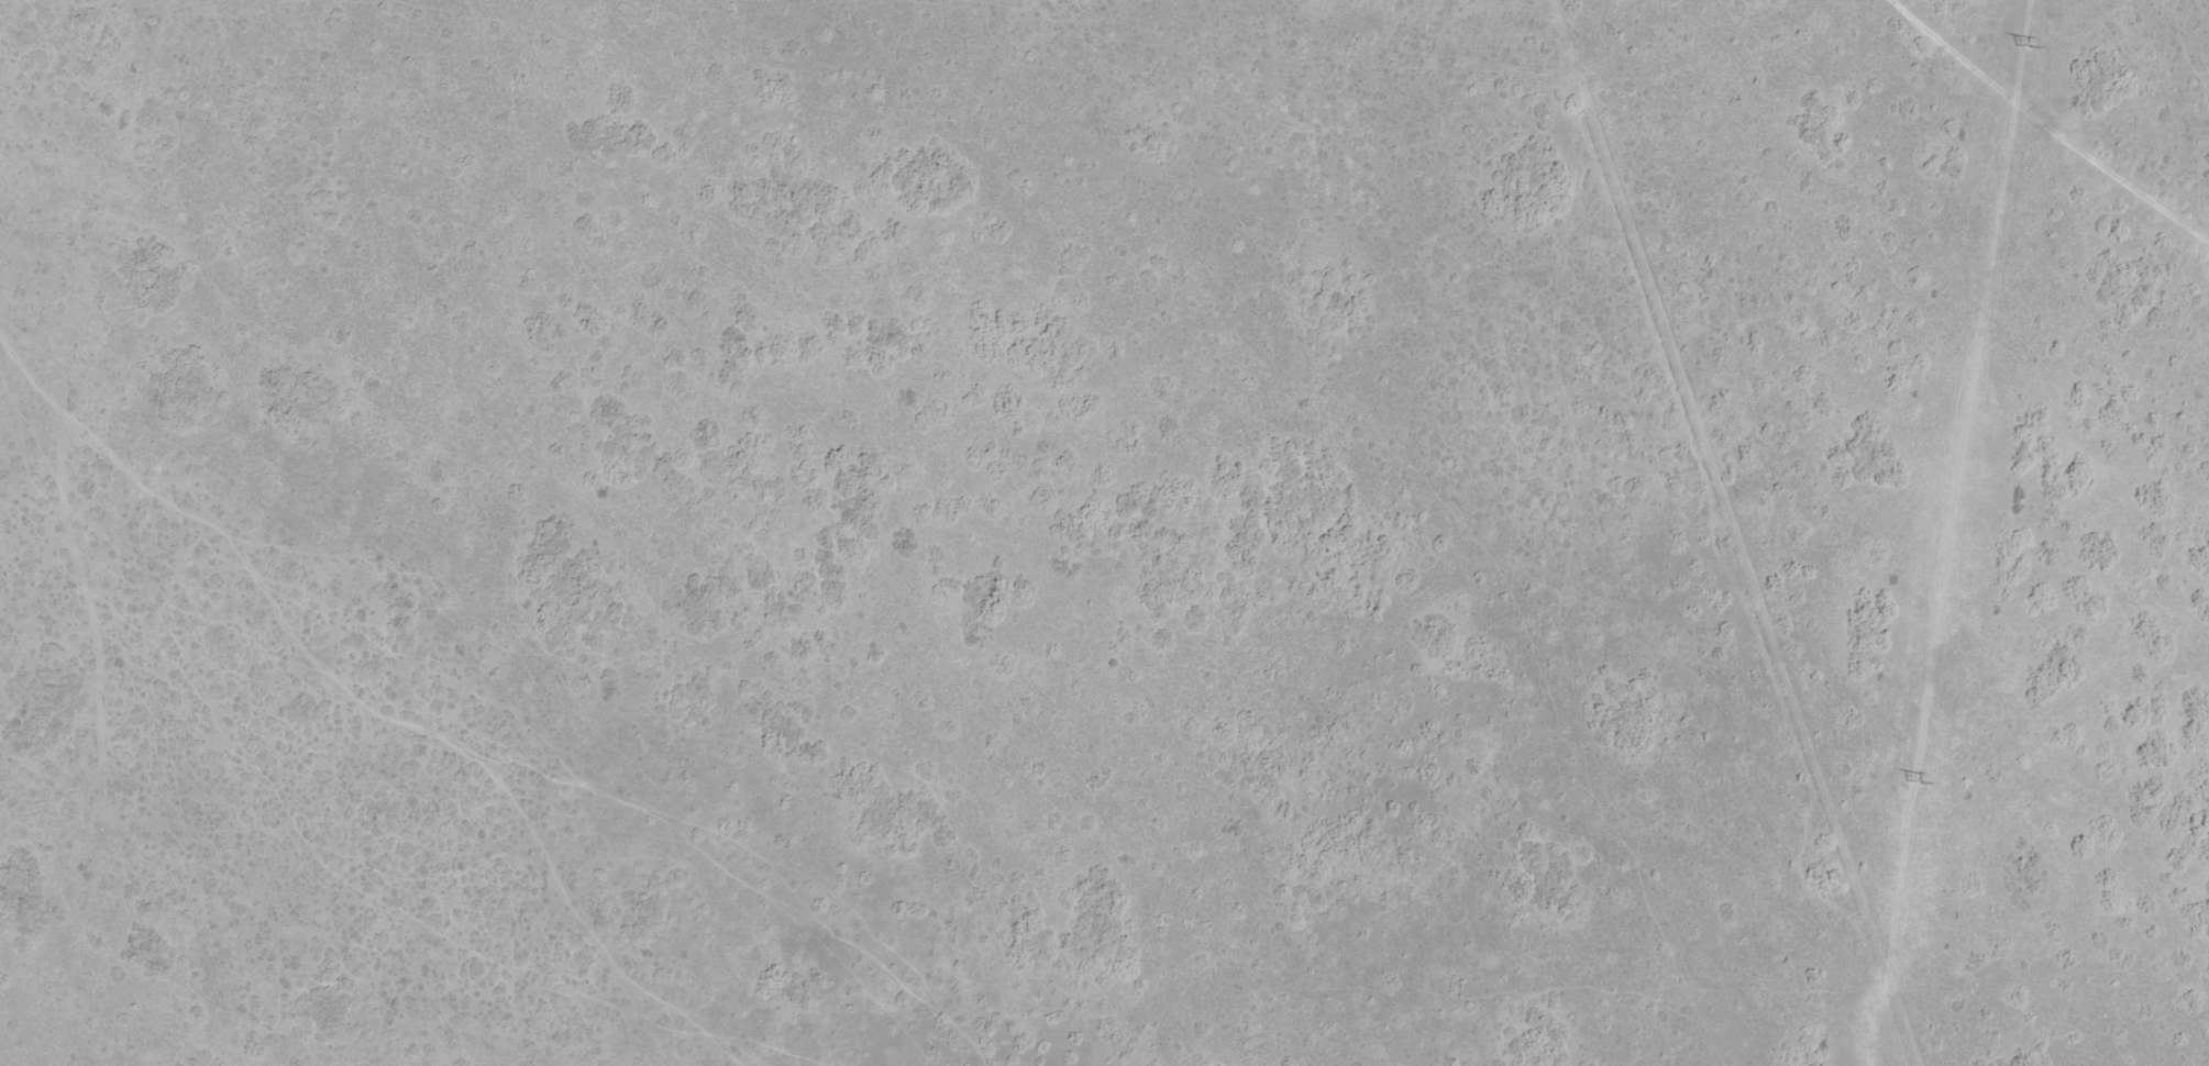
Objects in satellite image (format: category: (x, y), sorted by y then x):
power tower: (2020, 45)
power tower: (1911, 780)

